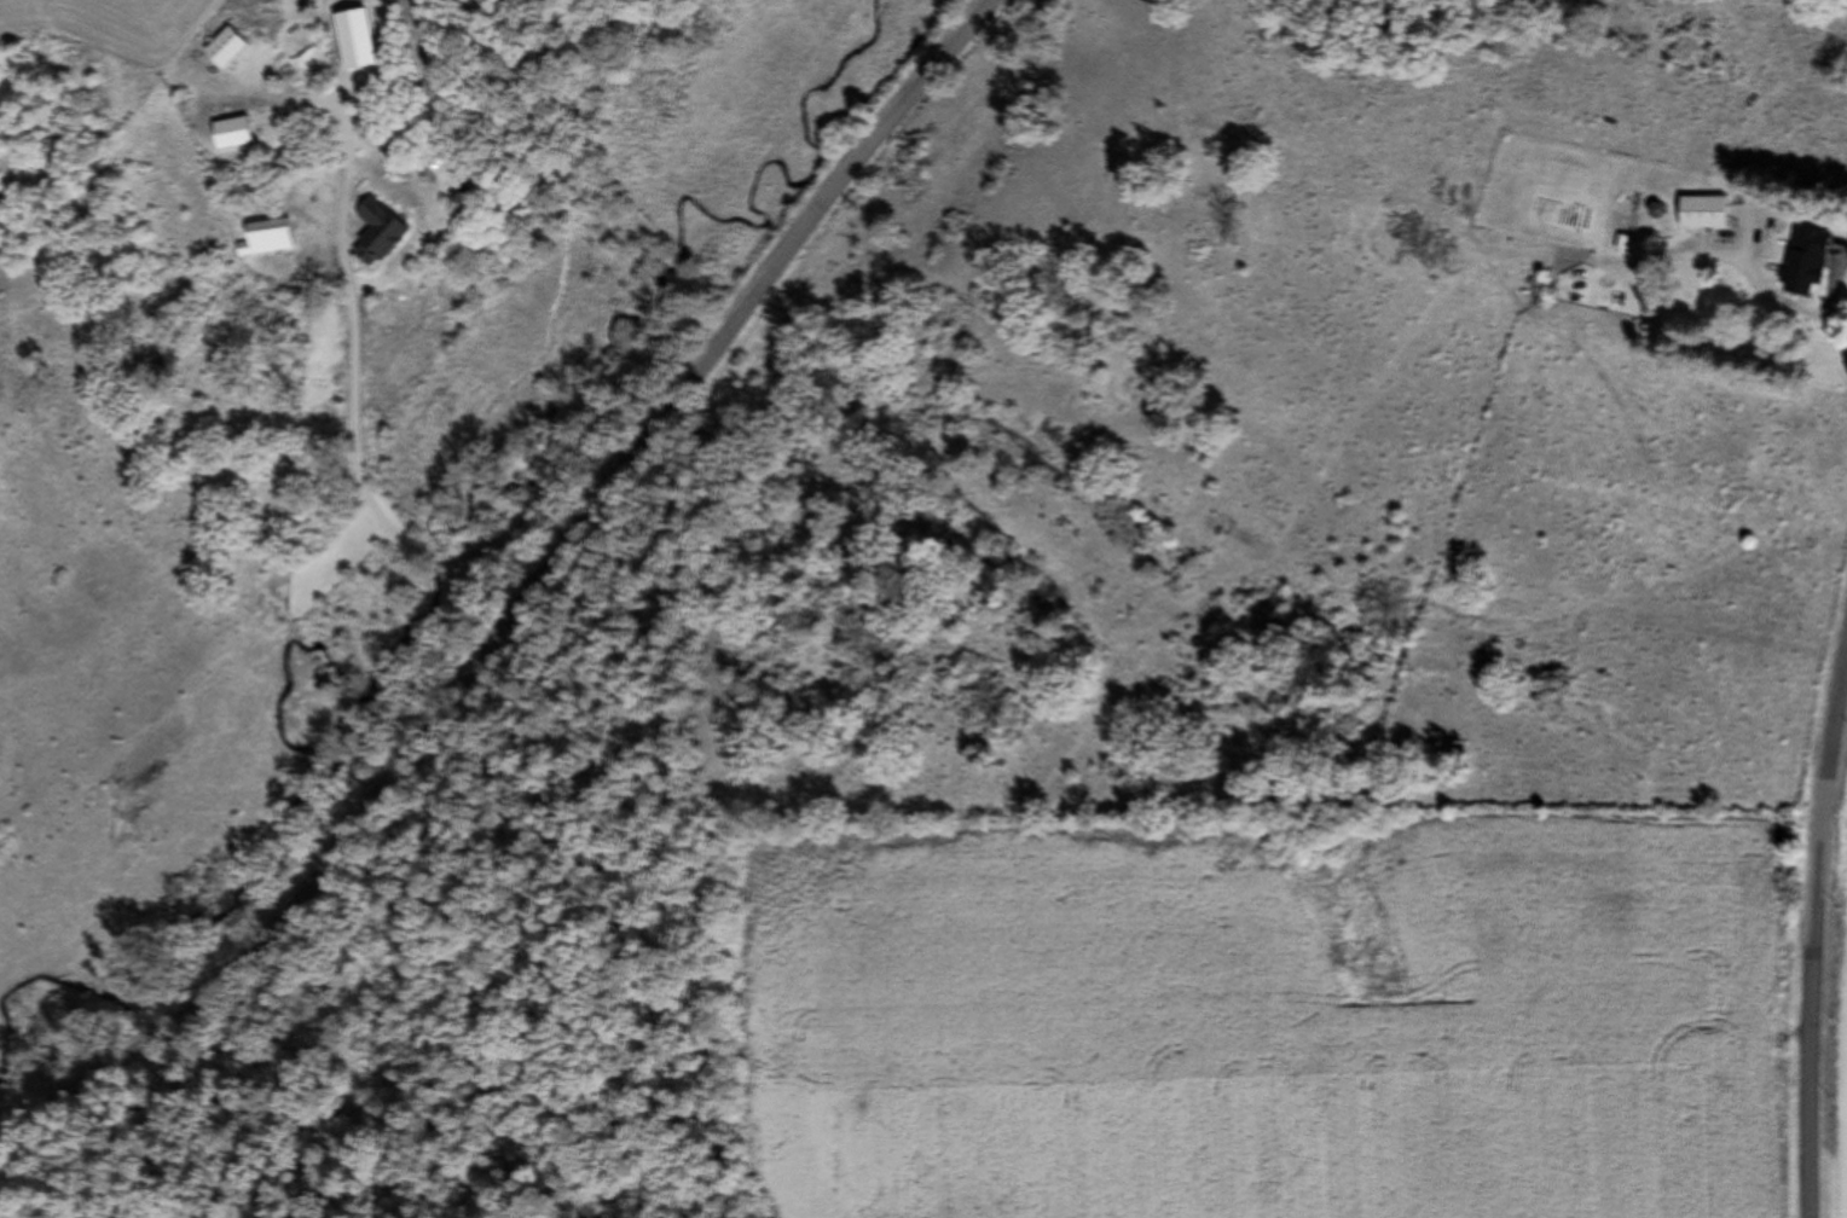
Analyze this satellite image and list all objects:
building: (224, 48)
building: (462, 196)
building: (1702, 213)
building: (376, 232)
building: (266, 239)
building: (1806, 262)
road: (418, 550)
road: (516, 609)
road: (1810, 909)

